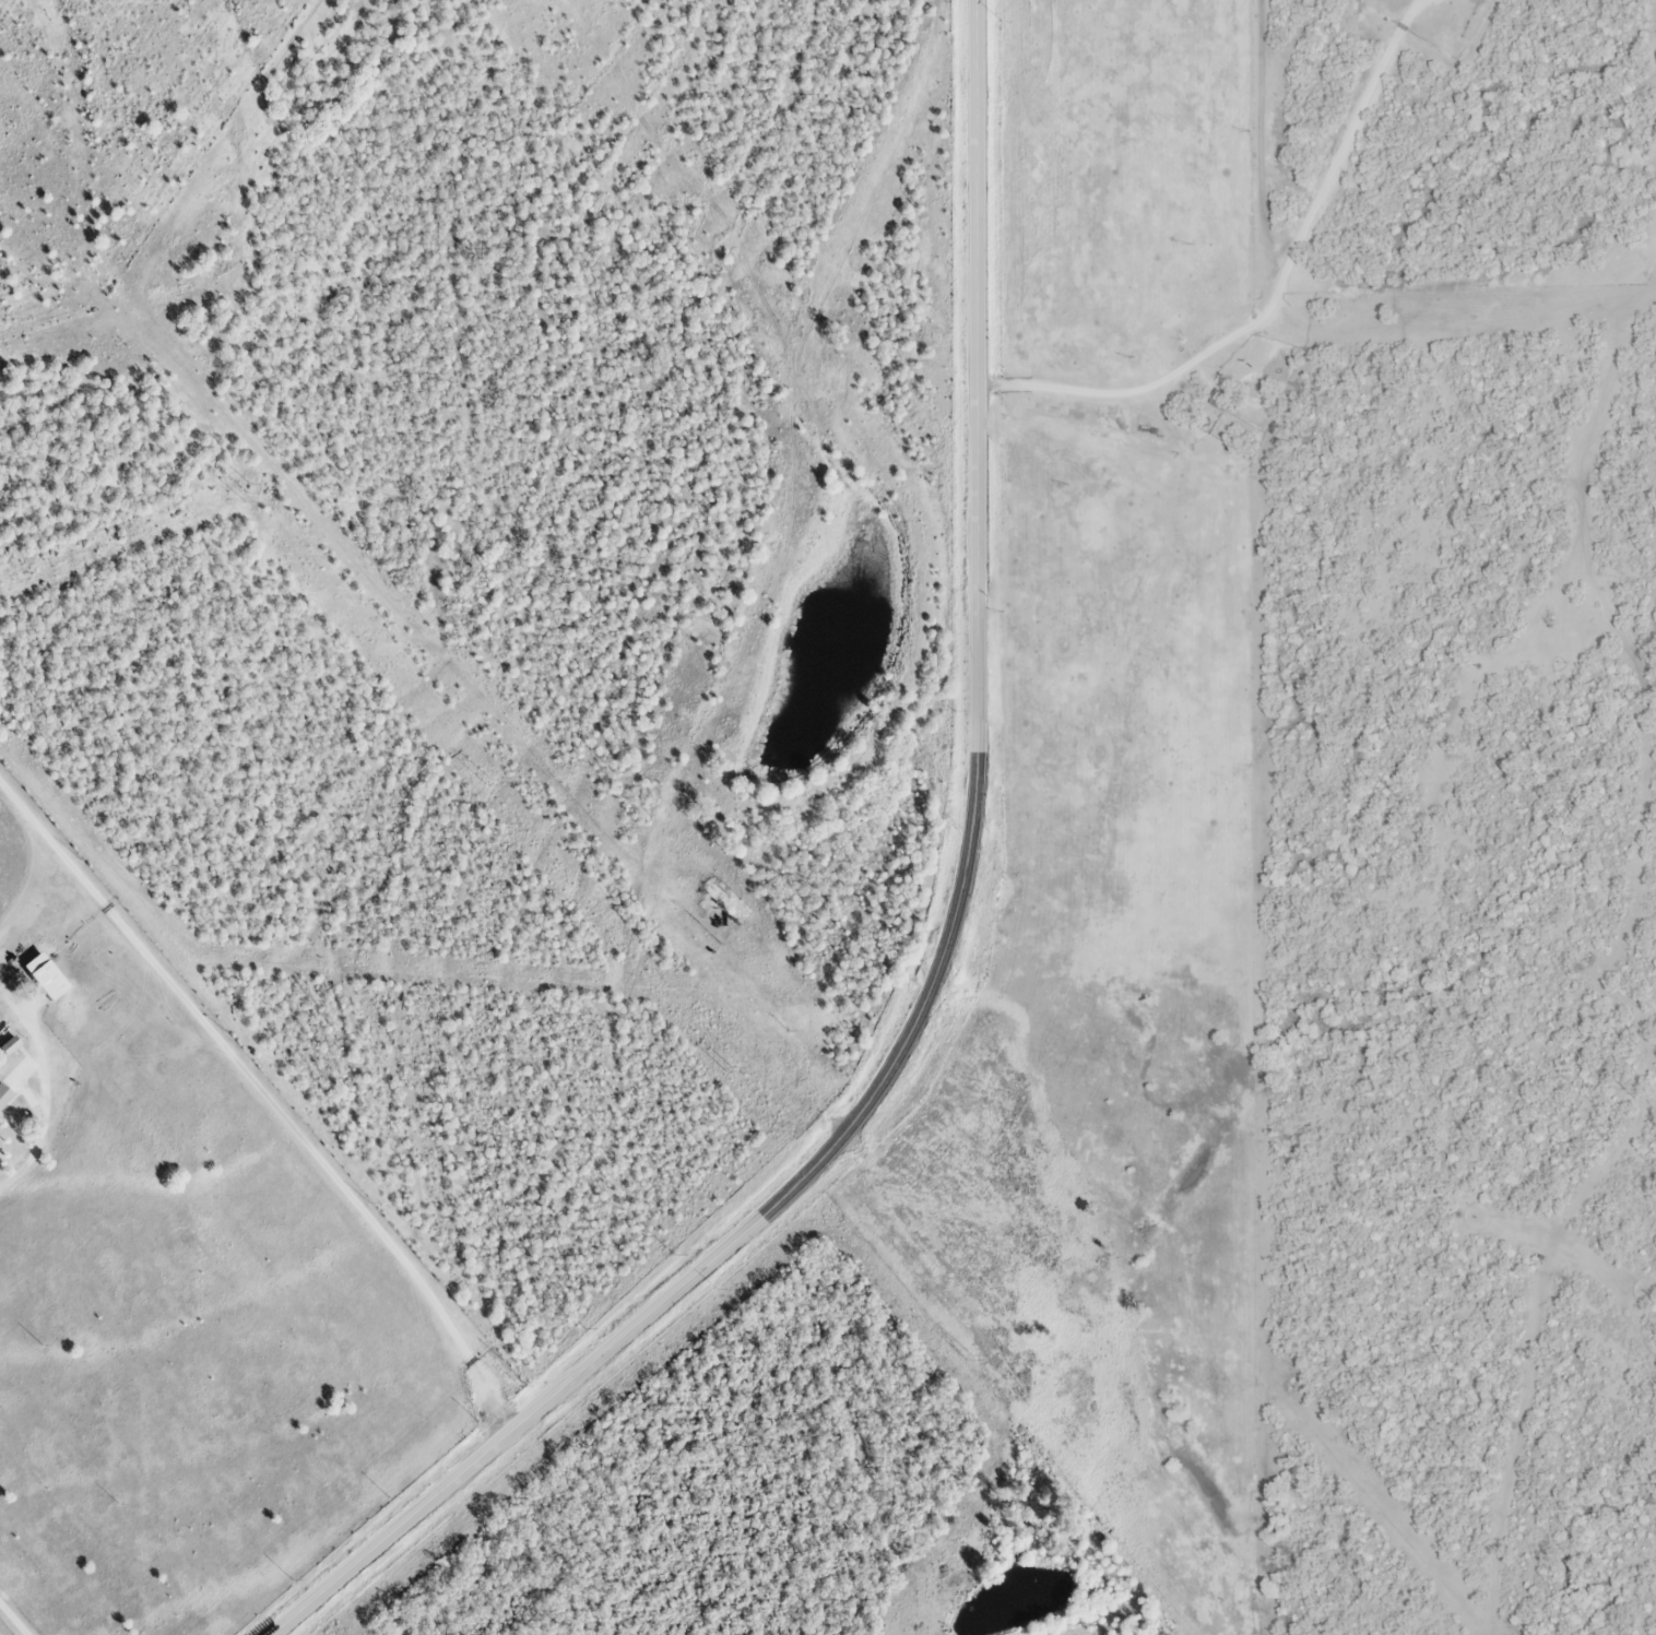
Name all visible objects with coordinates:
road: (1326, 179)
road: (1252, 323)
power tower: (246, 487)
power tower: (485, 780)
road: (939, 959)
building: (46, 981)
building: (7, 1046)
power tower: (729, 1069)
building: (3, 1097)
road: (263, 1097)
road: (43, 1101)
power tower: (969, 1358)
road: (13, 1619)

